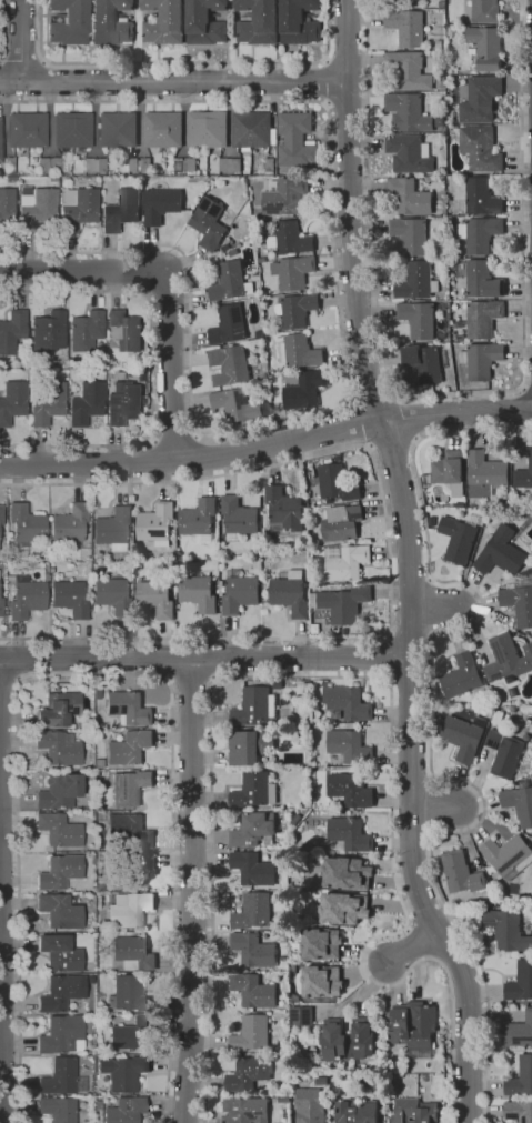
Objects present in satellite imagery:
building: (403, 2)
building: (484, 11)
building: (69, 22)
building: (110, 22)
building: (163, 22)
building: (204, 22)
building: (255, 22)
building: (298, 23)
building: (406, 27)
road: (2, 30)
road: (21, 41)
building: (439, 44)
building: (484, 48)
road: (23, 59)
road: (345, 61)
road: (184, 62)
building: (406, 71)
road: (43, 81)
road: (173, 81)
road: (325, 81)
building: (440, 81)
building: (480, 99)
road: (347, 102)
building: (406, 112)
building: (438, 124)
building: (27, 130)
building: (72, 130)
building: (162, 130)
building: (207, 130)
building: (117, 131)
building: (252, 132)
building: (295, 141)
building: (0, 142)
building: (480, 149)
building: (409, 153)
building: (50, 164)
building: (94, 164)
building: (134, 164)
building: (145, 164)
building: (229, 164)
building: (9, 167)
building: (184, 167)
building: (269, 167)
building: (285, 195)
building: (409, 195)
building: (480, 198)
building: (160, 204)
building: (77, 209)
building: (7, 210)
building: (121, 211)
building: (38, 212)
building: (208, 223)
building: (479, 233)
building: (409, 235)
building: (289, 239)
building: (261, 260)
building: (460, 267)
building: (292, 272)
building: (481, 280)
road: (169, 282)
building: (229, 282)
building: (416, 282)
building: (295, 310)
building: (482, 319)
building: (416, 320)
building: (228, 325)
building: (12, 331)
building: (86, 331)
building: (124, 331)
building: (49, 332)
building: (448, 344)
building: (298, 351)
road: (344, 353)
building: (481, 360)
building: (423, 363)
building: (229, 365)
road: (151, 370)
building: (261, 377)
road: (521, 389)
building: (304, 391)
road: (528, 391)
road: (451, 394)
road: (372, 398)
building: (12, 402)
building: (49, 403)
building: (87, 403)
building: (123, 403)
building: (235, 405)
road: (412, 419)
road: (355, 423)
road: (174, 435)
road: (392, 443)
road: (265, 444)
building: (449, 471)
building: (523, 474)
building: (484, 475)
building: (335, 483)
building: (283, 509)
building: (1, 515)
building: (198, 518)
building: (237, 518)
building: (70, 523)
building: (341, 523)
building: (27, 524)
building: (154, 524)
building: (113, 528)
building: (0, 530)
building: (458, 539)
road: (389, 547)
building: (500, 552)
building: (347, 563)
road: (408, 564)
building: (44, 576)
building: (313, 584)
building: (113, 592)
building: (197, 593)
building: (238, 593)
building: (289, 594)
building: (28, 598)
building: (70, 599)
building: (154, 599)
building: (519, 600)
building: (342, 604)
road: (431, 606)
building: (1, 608)
building: (531, 632)
road: (203, 658)
road: (388, 658)
building: (508, 660)
road: (94, 678)
road: (365, 678)
building: (463, 679)
road: (190, 681)
road: (11, 682)
building: (277, 684)
building: (100, 685)
building: (305, 691)
building: (347, 702)
building: (254, 708)
building: (59, 709)
building: (128, 709)
building: (512, 710)
building: (496, 718)
road: (430, 729)
building: (462, 738)
building: (248, 746)
building: (349, 746)
building: (59, 748)
building: (129, 748)
building: (503, 753)
building: (128, 788)
building: (253, 790)
building: (349, 790)
building: (59, 791)
building: (519, 804)
road: (433, 809)
building: (59, 830)
building: (252, 830)
building: (129, 831)
building: (349, 834)
building: (331, 852)
building: (508, 856)
building: (252, 869)
building: (131, 870)
building: (60, 871)
building: (344, 872)
building: (460, 873)
building: (98, 885)
road: (192, 891)
road: (0, 892)
building: (505, 899)
building: (342, 906)
building: (60, 911)
building: (130, 911)
building: (252, 912)
building: (102, 929)
building: (506, 931)
building: (103, 936)
building: (319, 944)
road: (412, 947)
building: (252, 951)
building: (60, 953)
building: (132, 953)
building: (320, 980)
building: (520, 981)
building: (252, 991)
building: (61, 993)
building: (129, 994)
building: (301, 1016)
building: (89, 1025)
building: (413, 1027)
building: (518, 1032)
building: (133, 1034)
building: (250, 1034)
building: (62, 1035)
building: (347, 1040)
building: (283, 1057)
building: (123, 1073)
building: (247, 1073)
building: (62, 1077)
building: (421, 1079)
building: (520, 1079)
building: (309, 1106)
building: (59, 1110)
building: (124, 1110)
building: (244, 1110)
building: (413, 1111)
building: (357, 1112)
building: (518, 1112)

